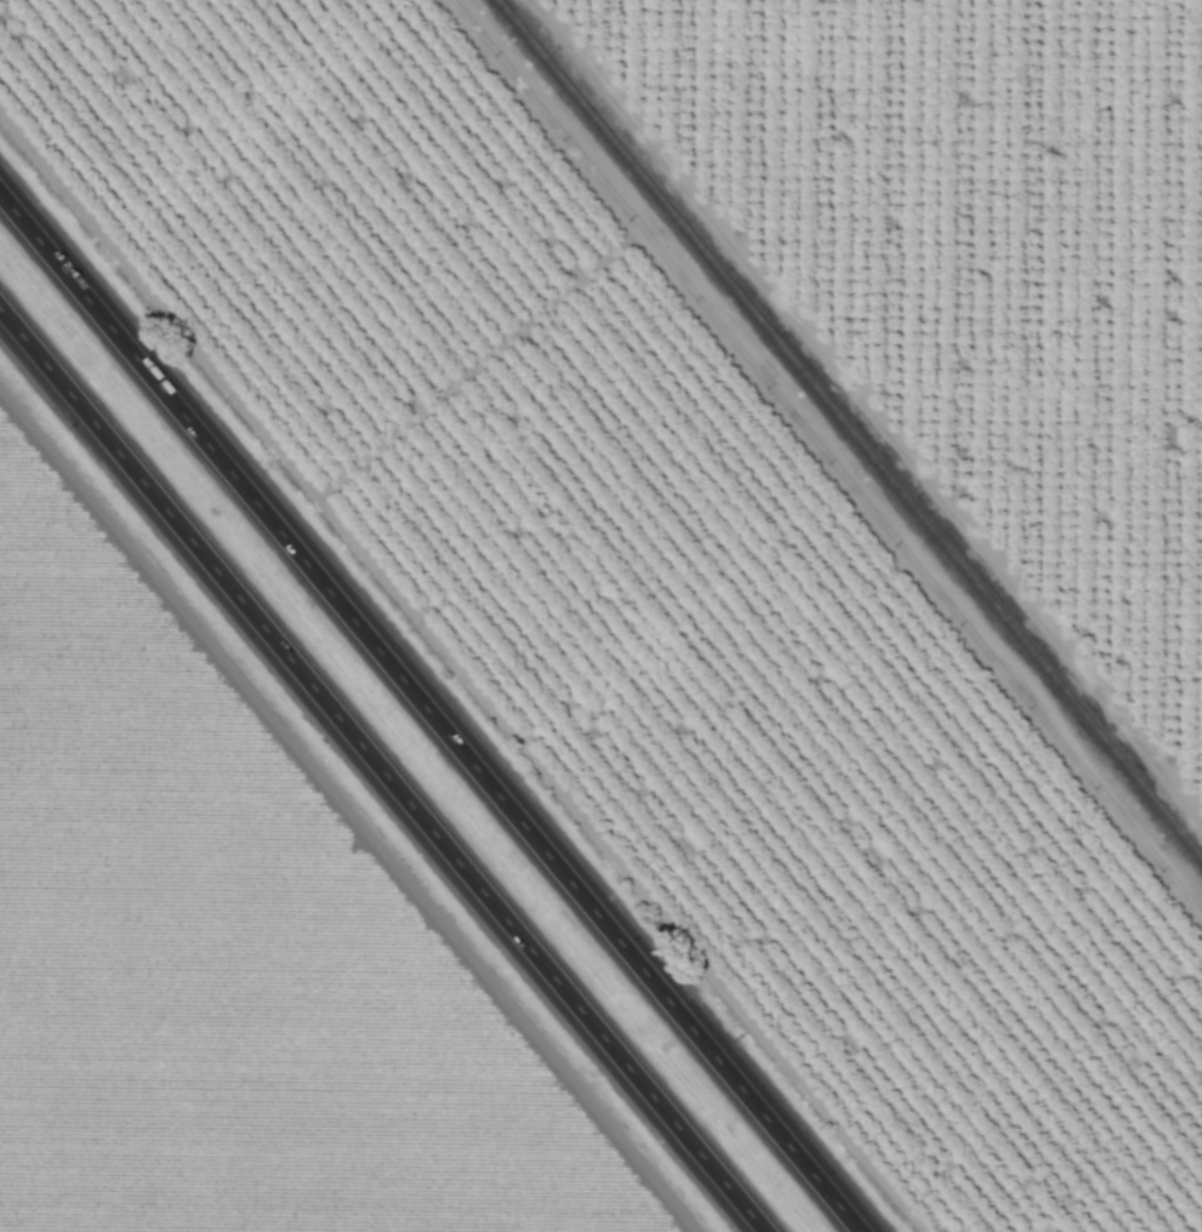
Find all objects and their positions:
railway: (848, 429)
road: (429, 713)
road: (381, 771)

